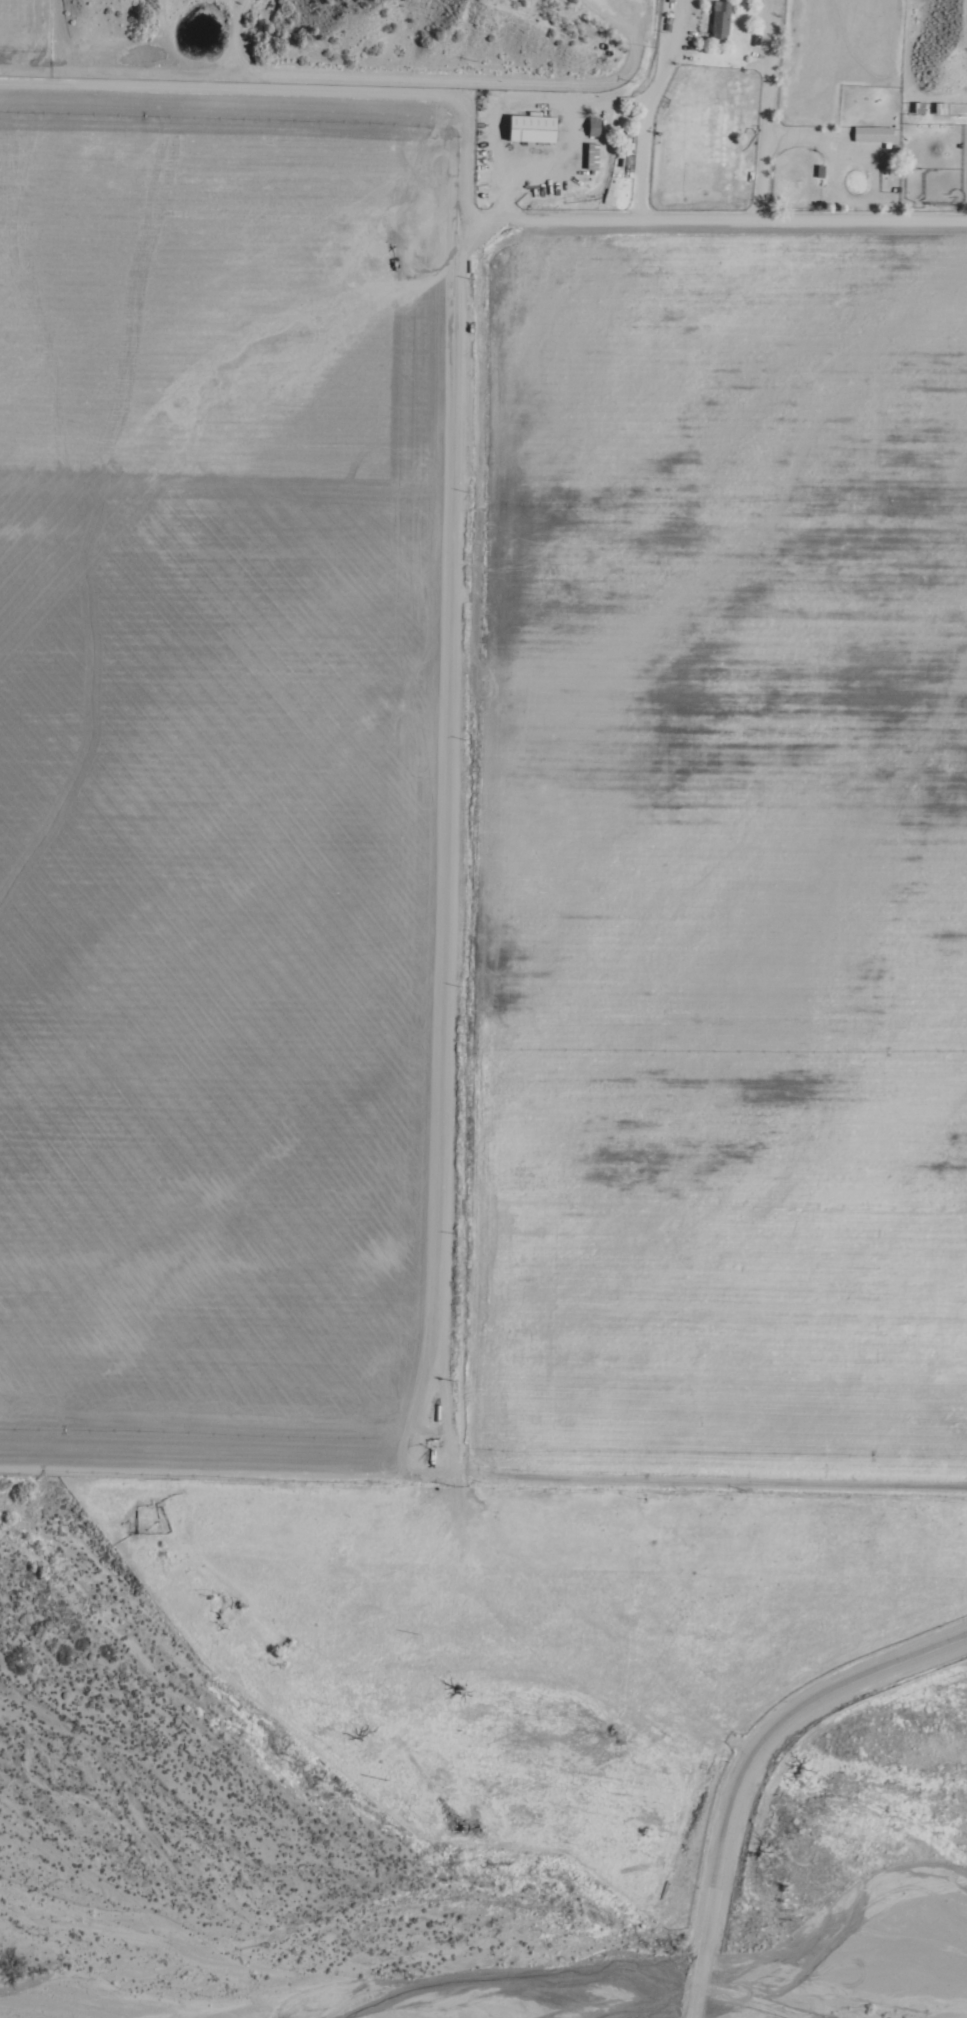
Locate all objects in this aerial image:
building: (721, 20)
building: (533, 127)
building: (873, 133)
road: (446, 808)
road: (227, 1478)
road: (752, 1771)
river: (490, 1808)
river: (962, 1999)

